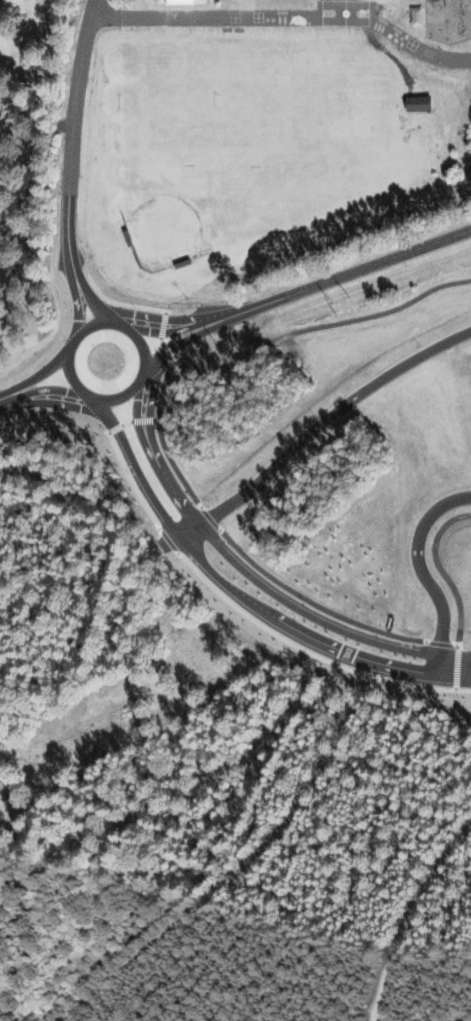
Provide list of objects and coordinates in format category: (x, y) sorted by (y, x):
building: (176, 1)
building: (414, 101)
road: (68, 132)
road: (340, 275)
road: (92, 296)
road: (75, 302)
road: (151, 316)
road: (314, 326)
road: (168, 330)
road: (172, 345)
road: (36, 375)
road: (42, 388)
road: (82, 392)
road: (150, 397)
road: (60, 403)
road: (327, 415)
road: (179, 534)
road: (422, 572)
road: (249, 576)
road: (241, 597)

